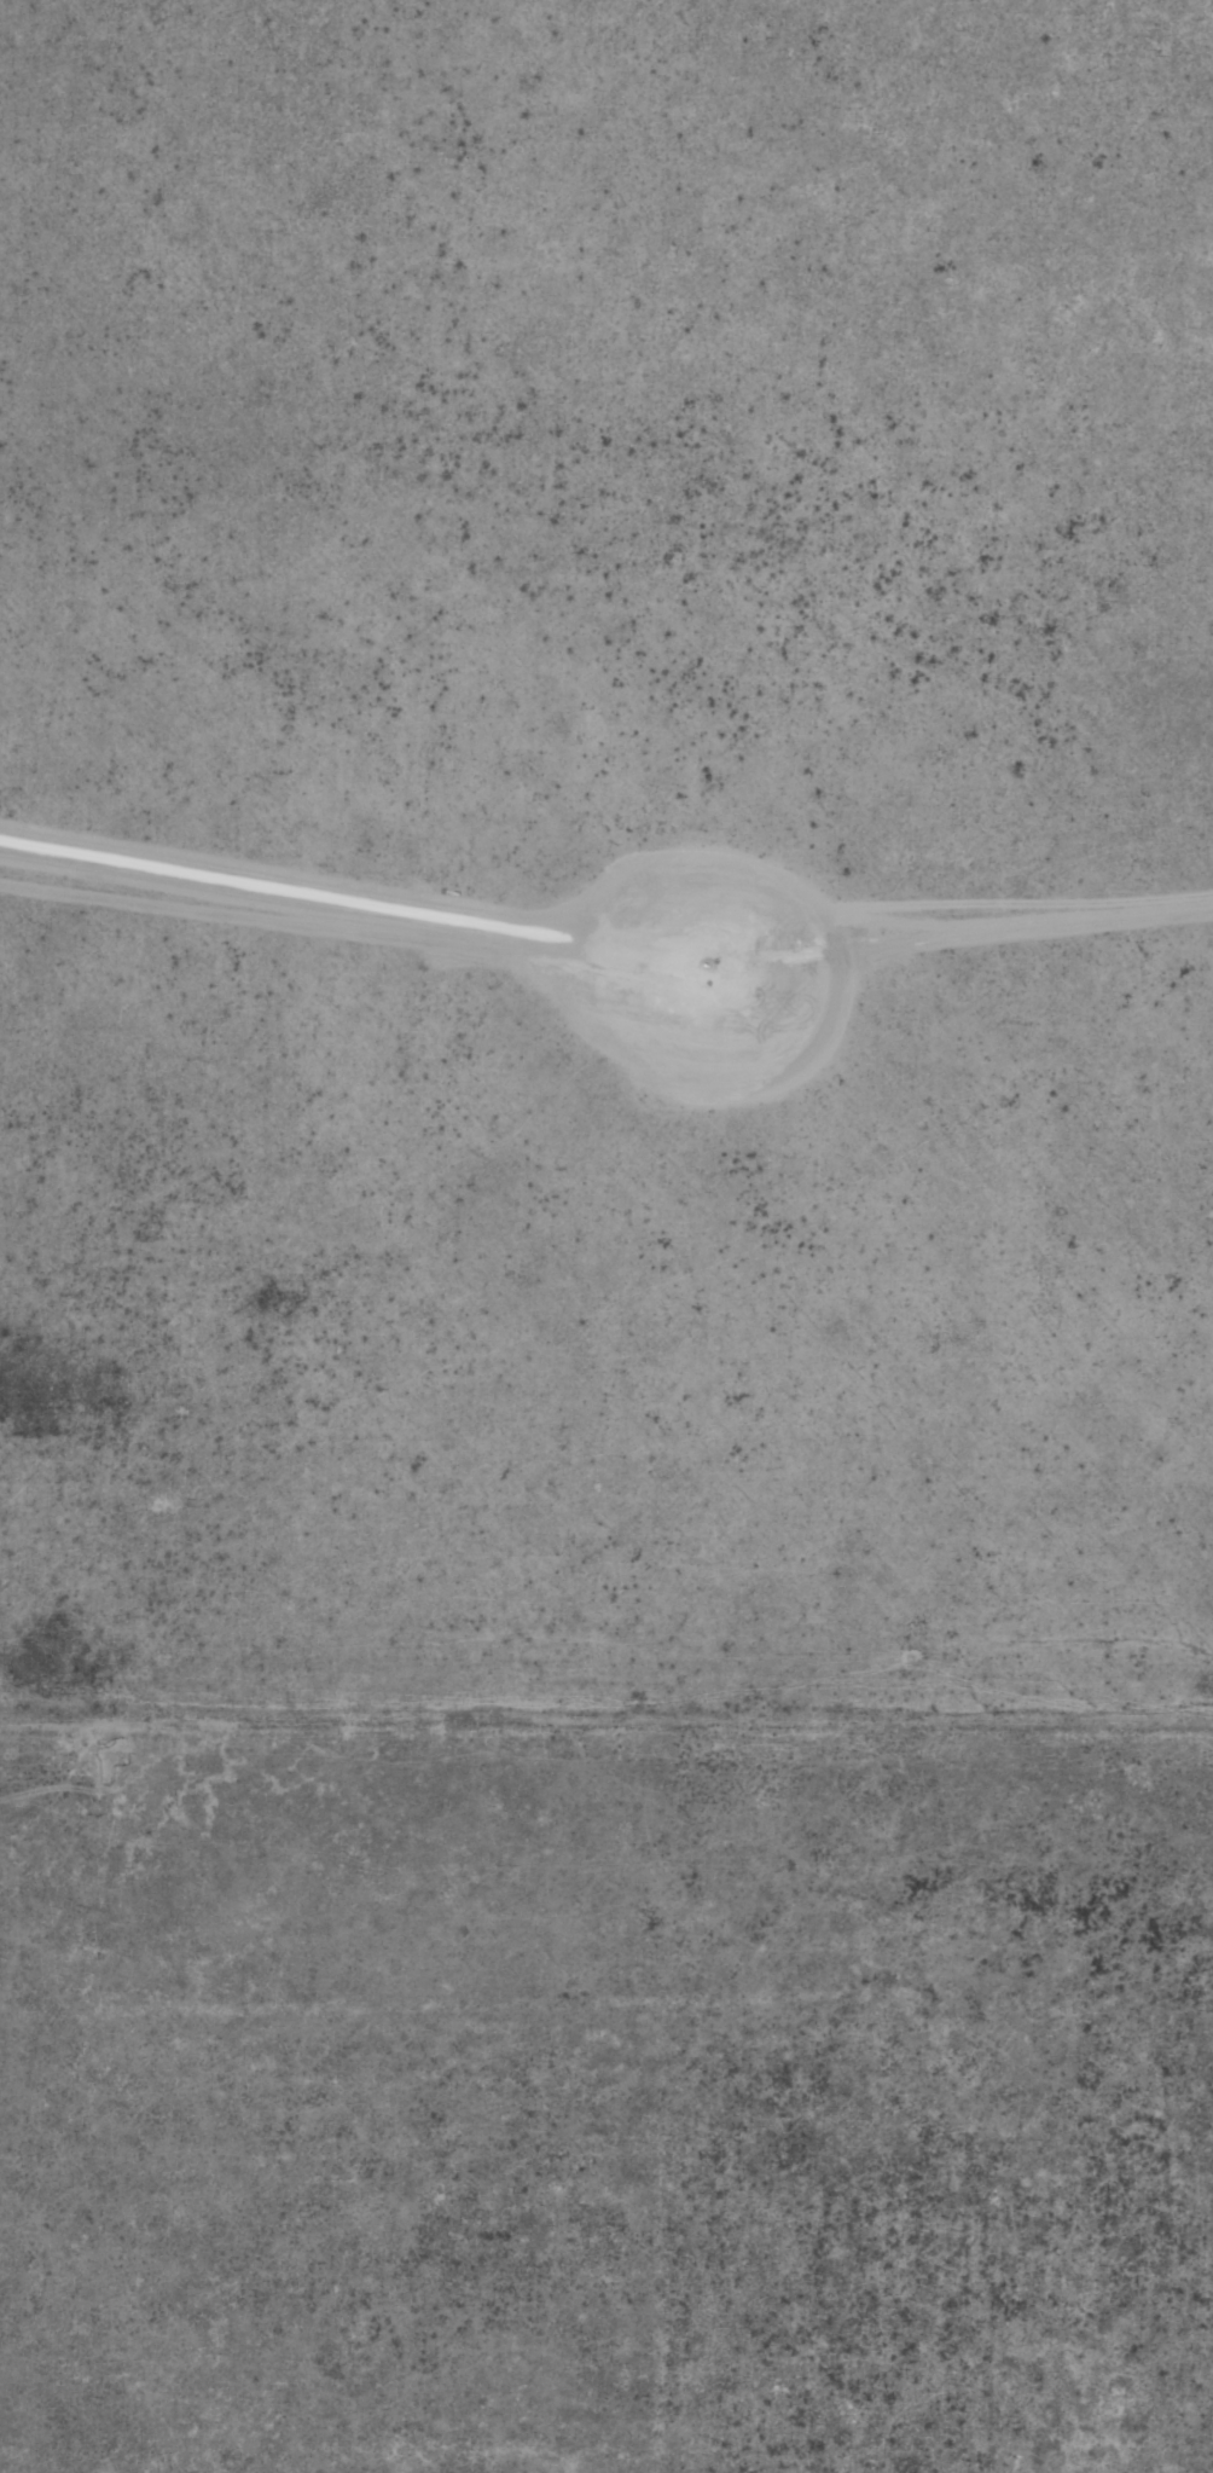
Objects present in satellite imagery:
wind turbine: (691, 966)

